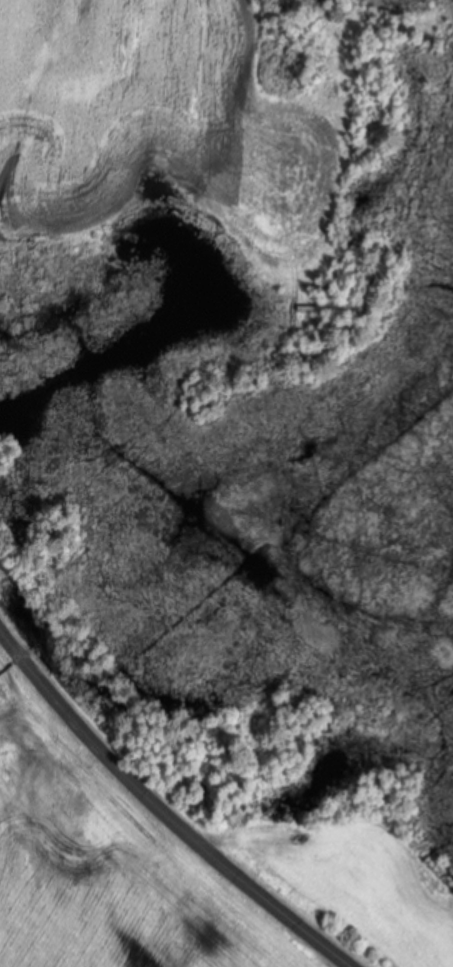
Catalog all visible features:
road: (164, 811)

